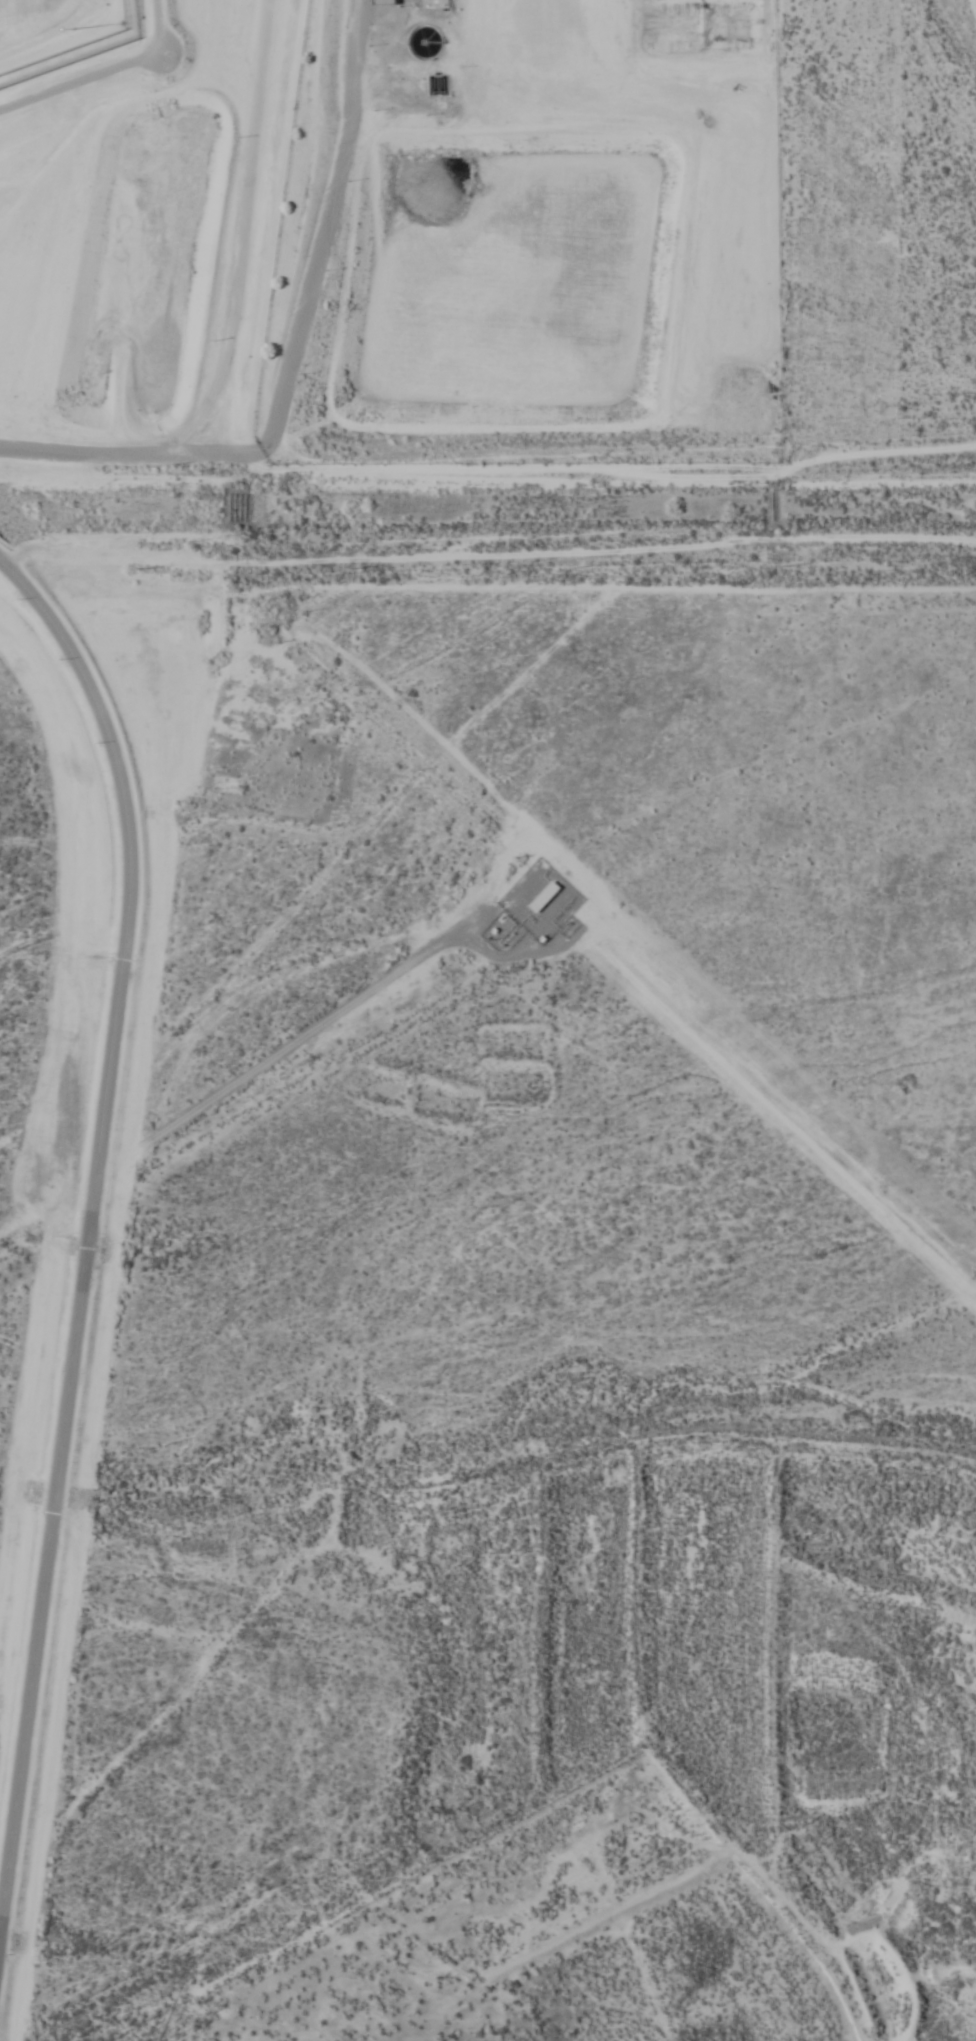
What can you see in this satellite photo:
building: (385, 1)
park: (21, 10)
road: (100, 72)
building: (546, 897)
road: (89, 1222)

